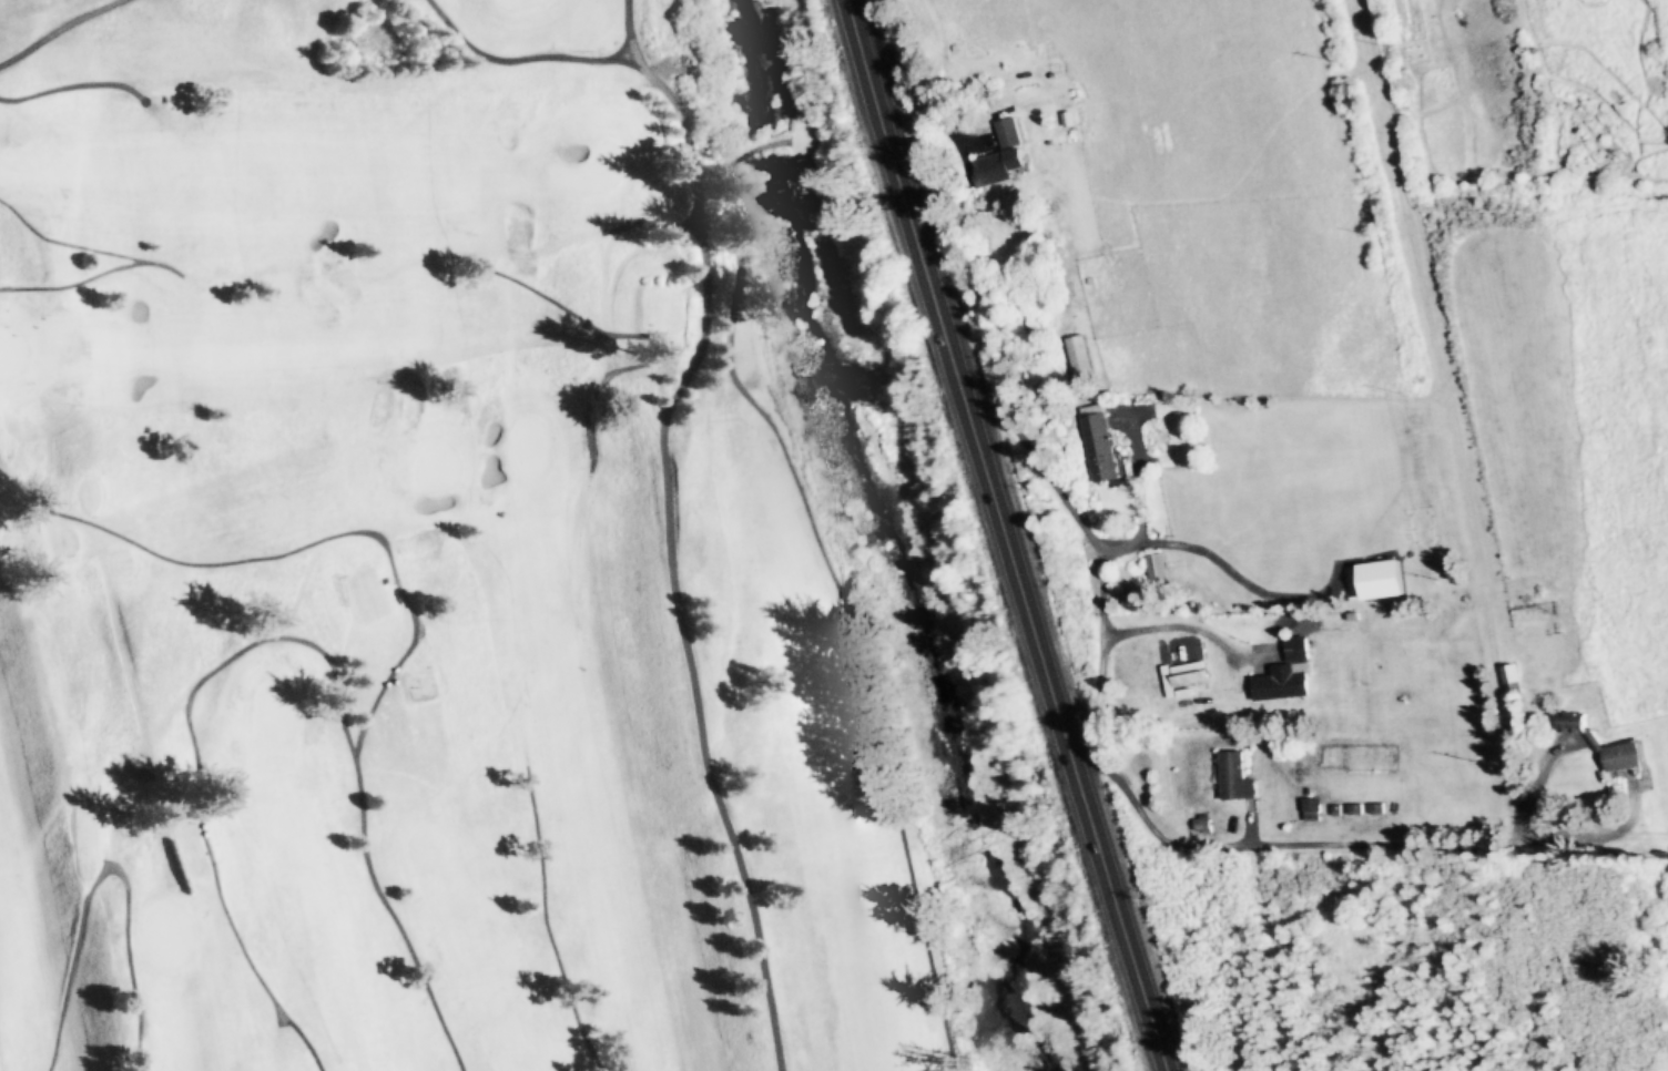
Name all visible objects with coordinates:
building: (1000, 156)
building: (1079, 358)
building: (1099, 443)
railway: (1473, 534)
road: (1001, 535)
park: (417, 571)
building: (1159, 571)
building: (1186, 663)
building: (1289, 674)
building: (1514, 681)
building: (1574, 723)
building: (1626, 758)
building: (1237, 777)
building: (1314, 805)
road: (1326, 844)

